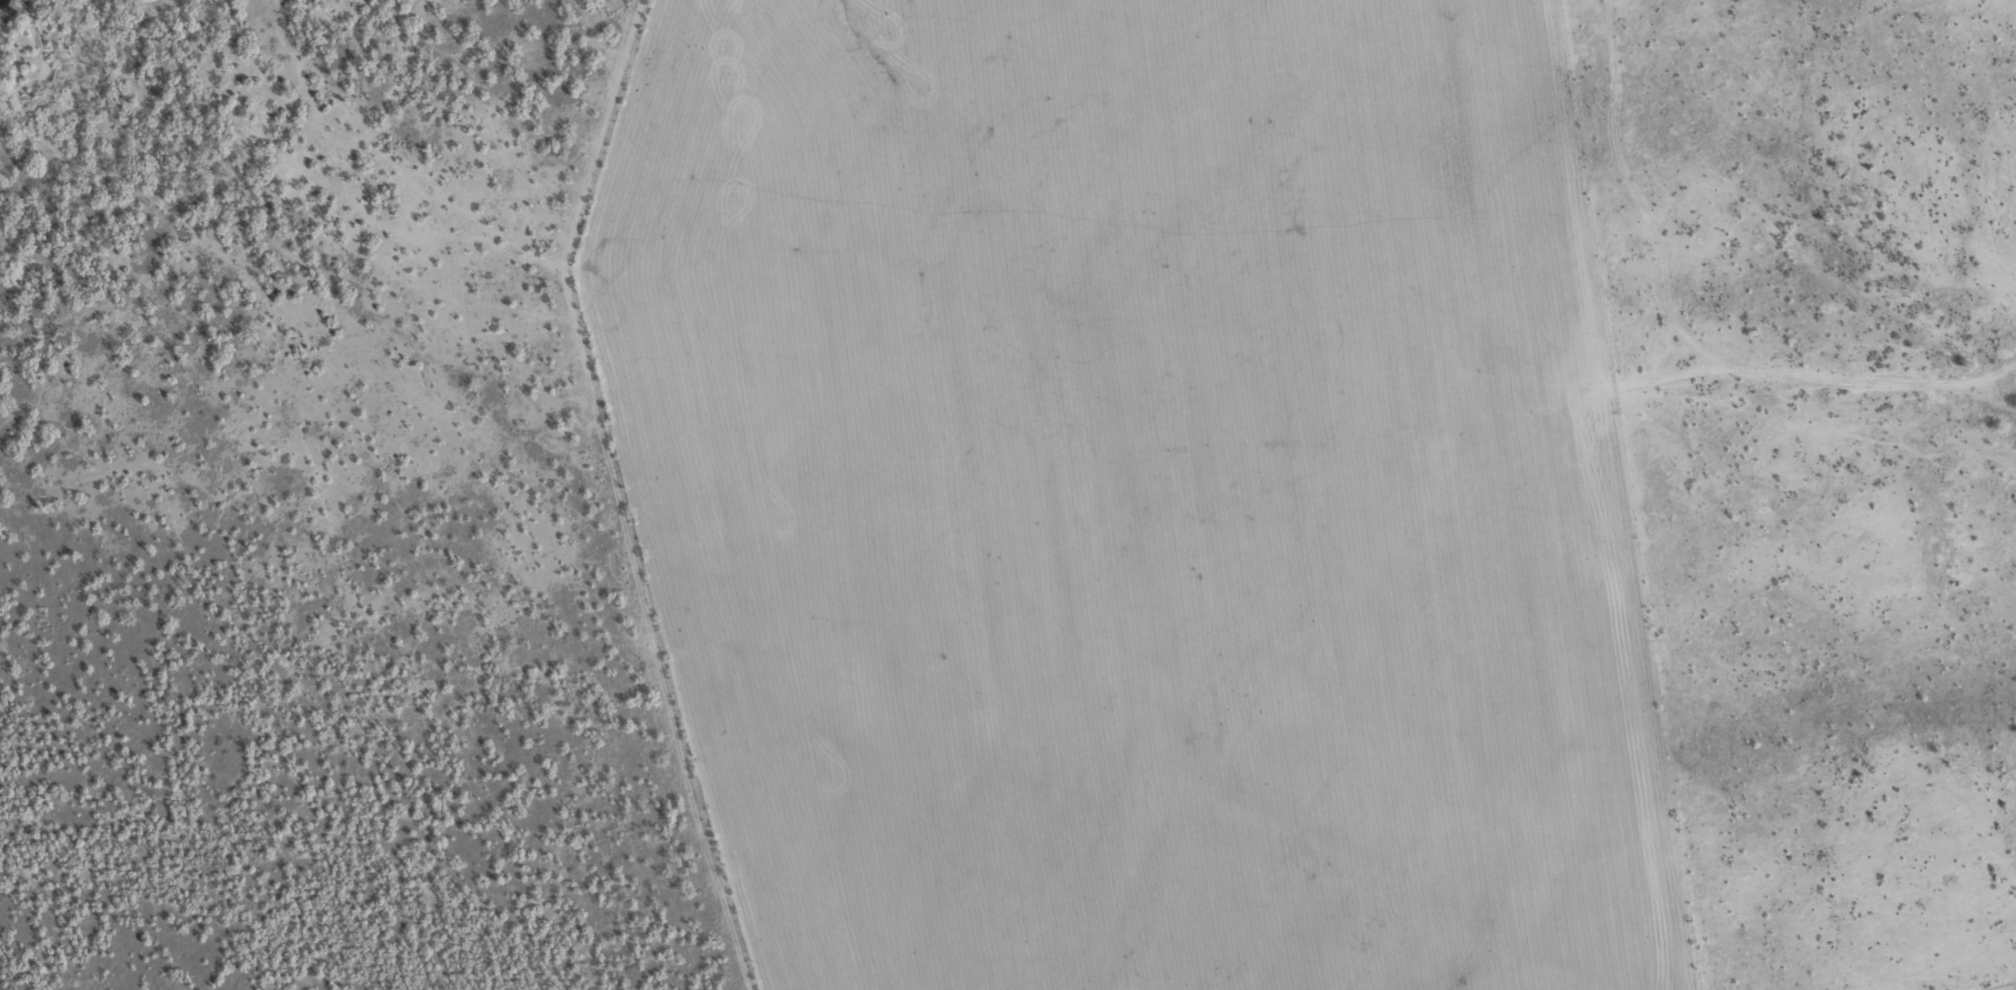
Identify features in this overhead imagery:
road: (1699, 326)

